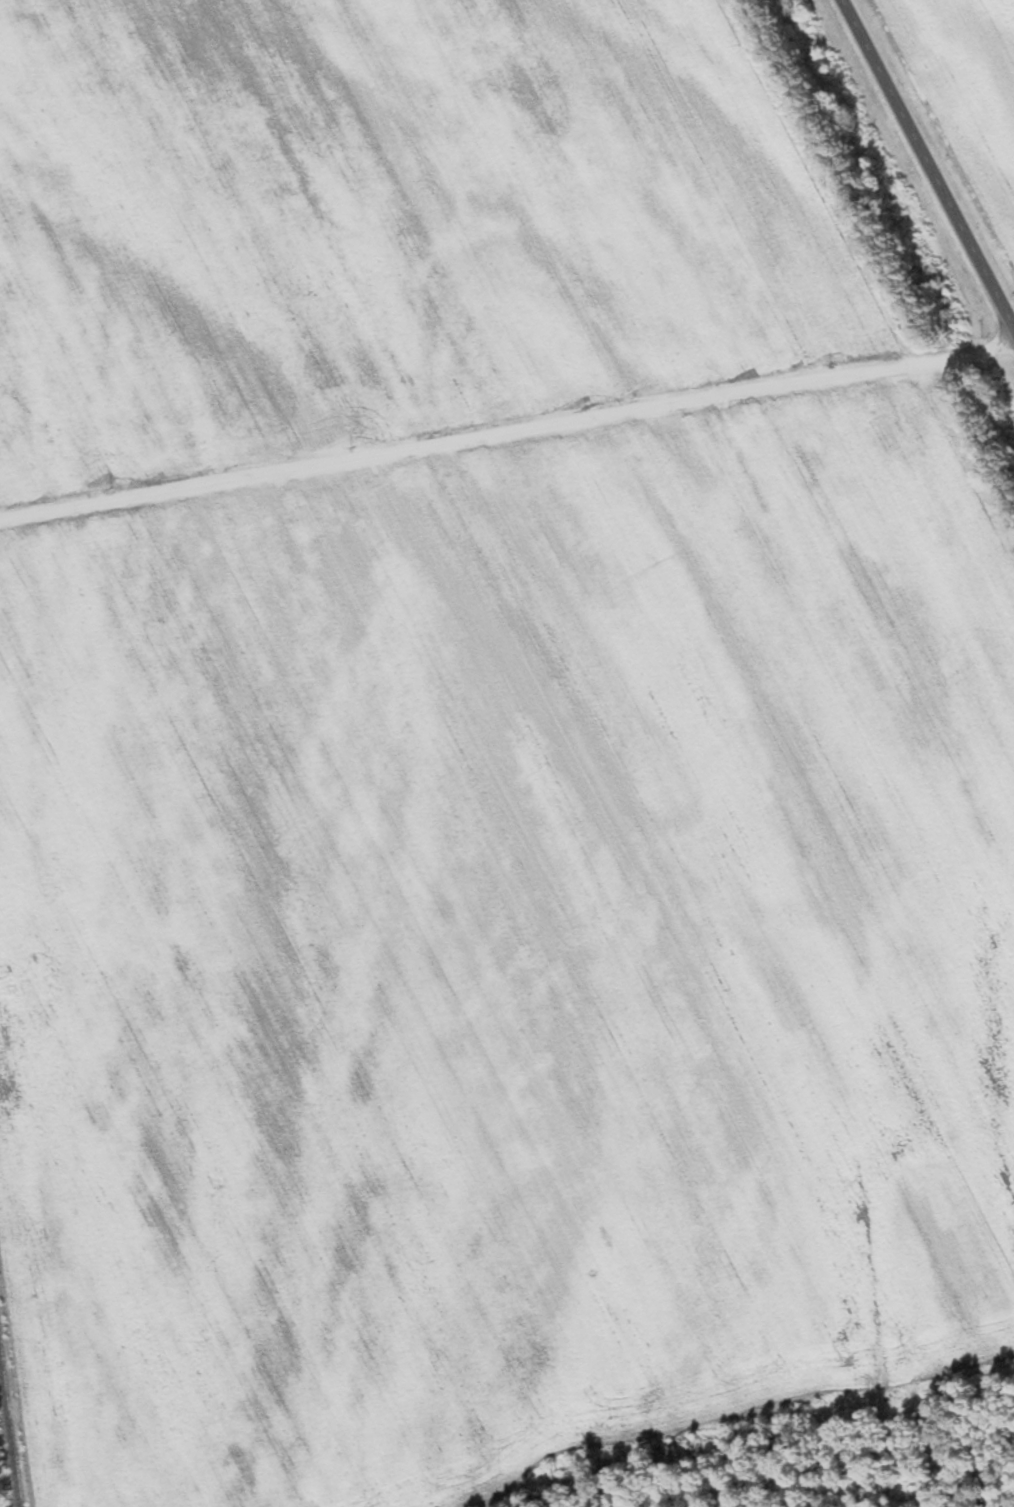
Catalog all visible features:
road: (928, 163)
road: (507, 433)
railway: (9, 1435)

